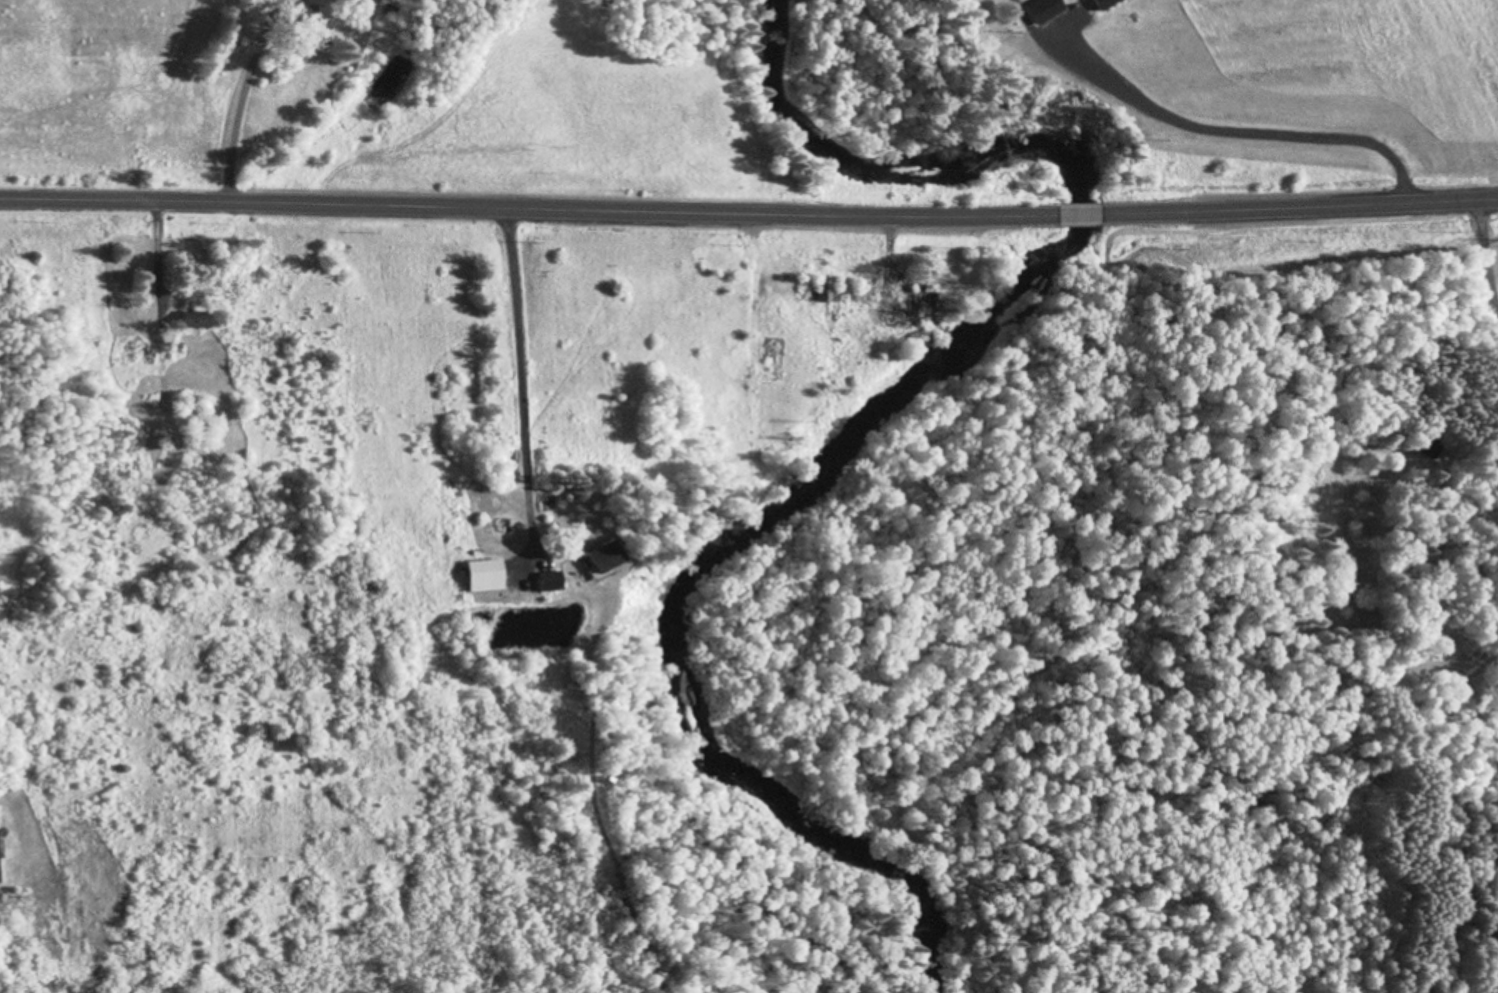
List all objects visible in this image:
building: (1108, 4)
building: (1047, 10)
road: (1146, 120)
road: (749, 209)
building: (825, 291)
building: (925, 302)
building: (199, 322)
building: (1428, 451)
building: (609, 559)
building: (484, 577)
building: (551, 583)
building: (0, 884)

